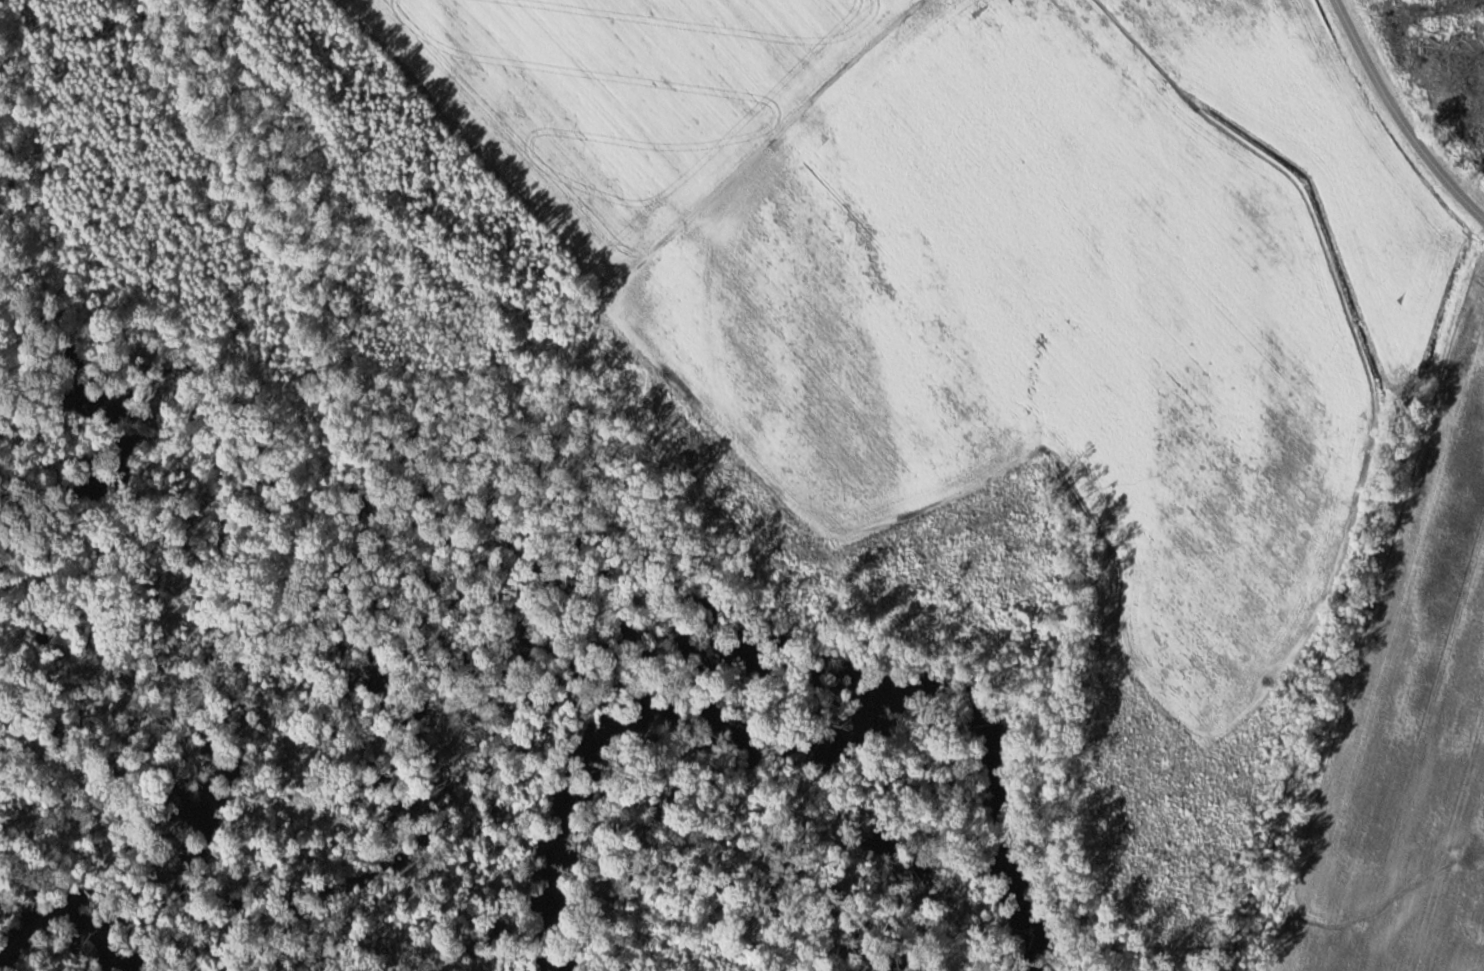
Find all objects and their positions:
road: (1400, 115)
river: (823, 766)

